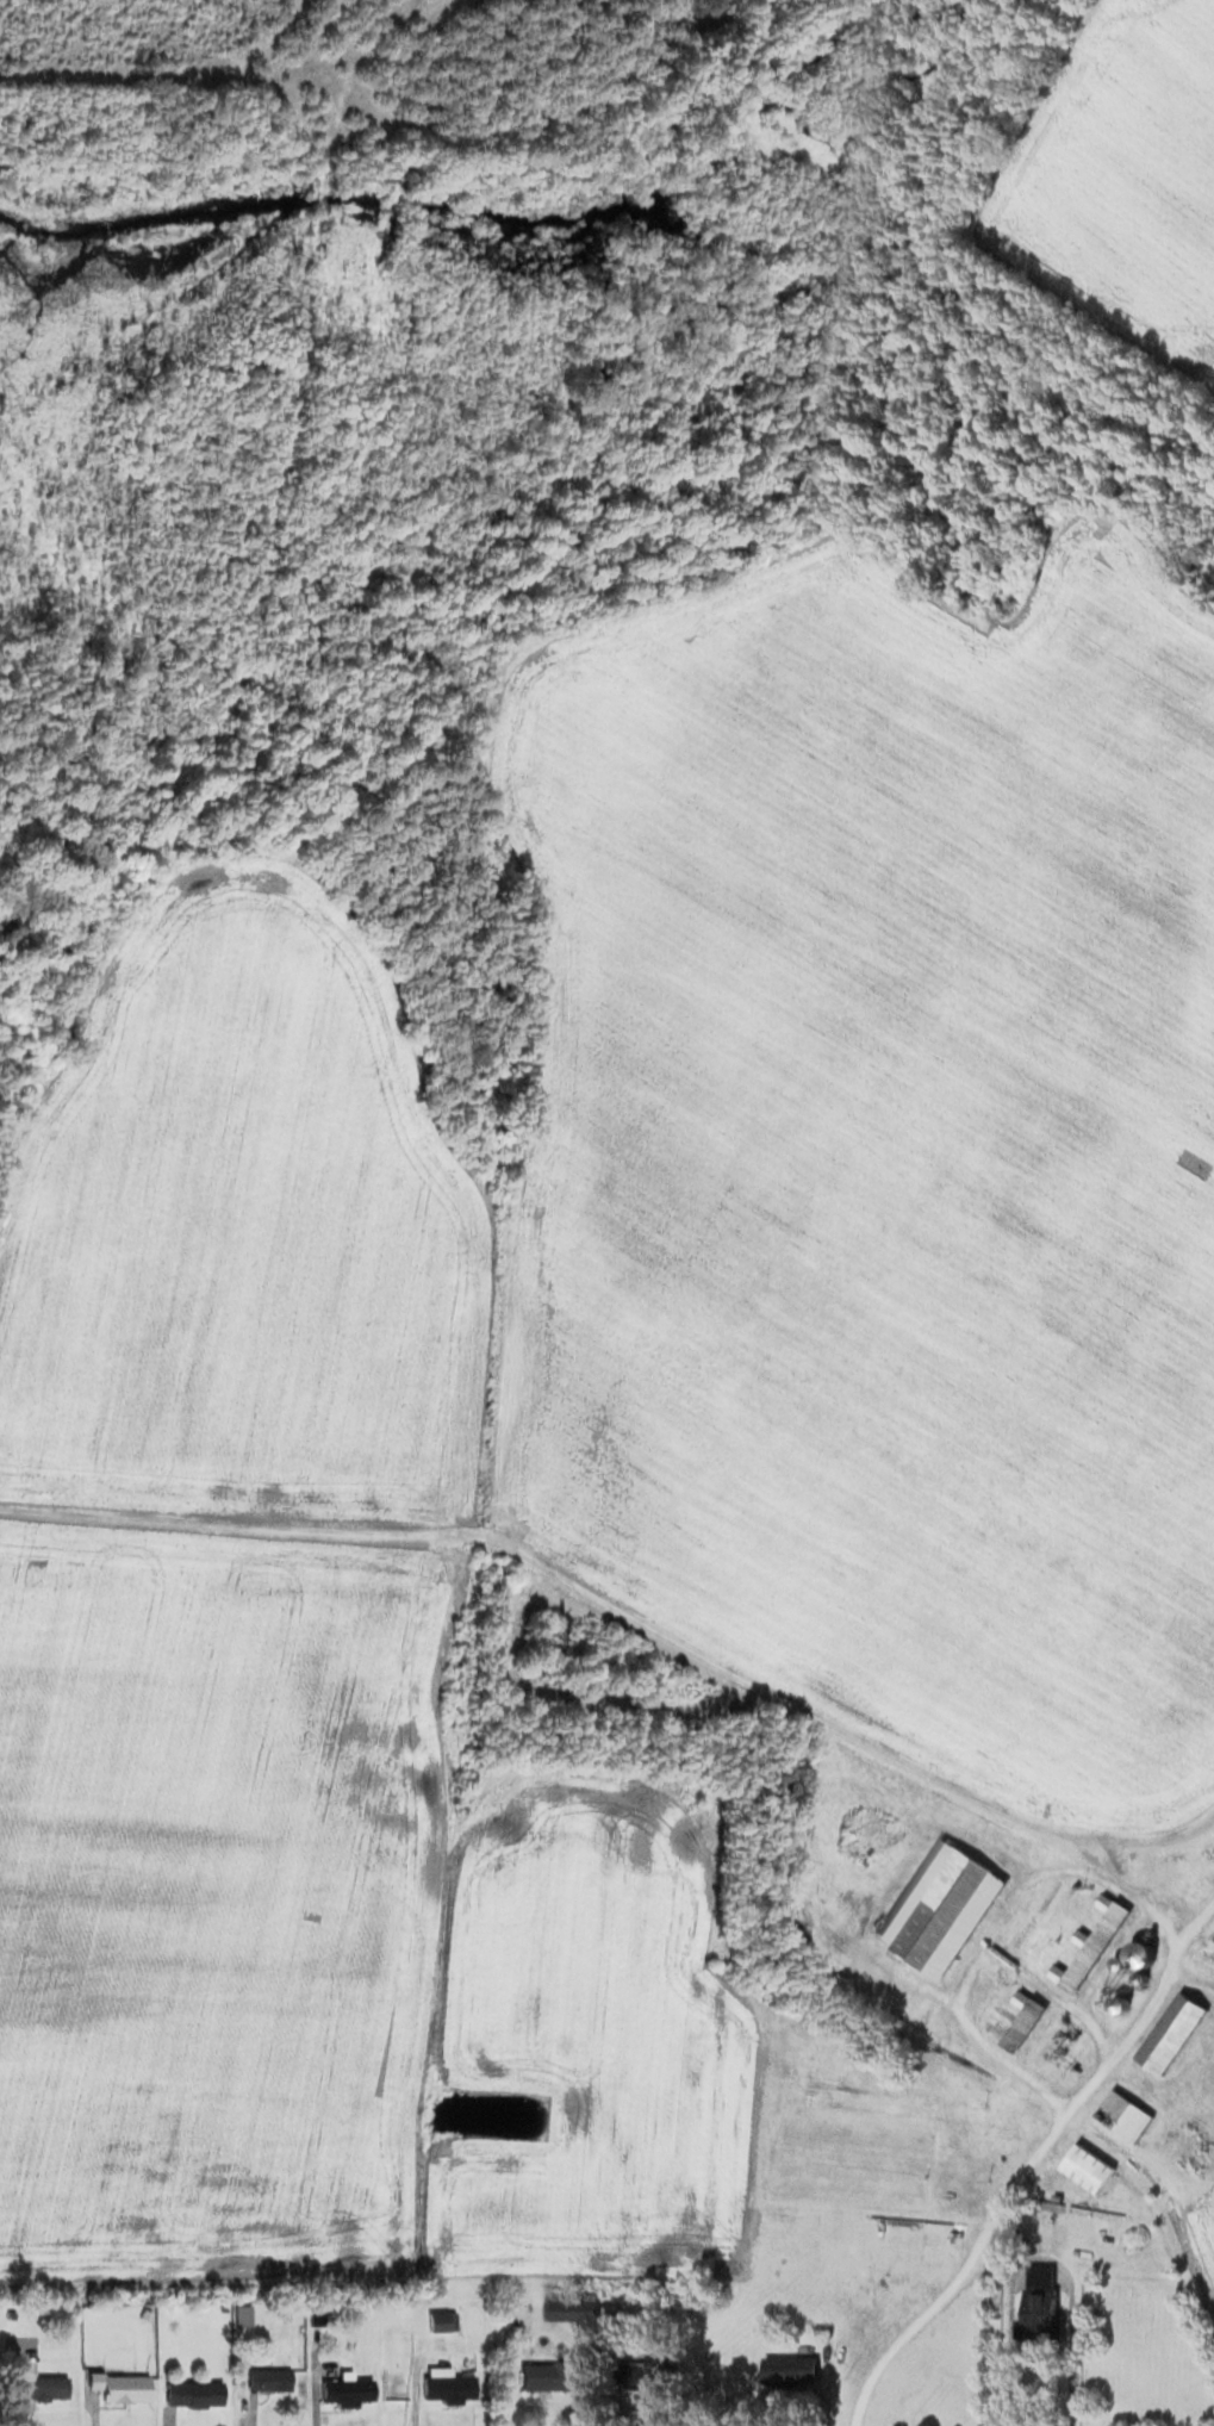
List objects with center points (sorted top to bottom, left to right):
building: (938, 1908)
road: (989, 1926)
building: (1088, 1945)
building: (1137, 1952)
road: (1051, 1992)
building: (1021, 2018)
building: (1169, 2032)
building: (1056, 2045)
building: (1121, 2115)
building: (849, 2135)
road: (1029, 2157)
building: (1084, 2167)
building: (846, 2185)
building: (1036, 2300)
building: (571, 2309)
building: (440, 2321)
building: (786, 2369)
building: (546, 2375)
building: (266, 2378)
building: (117, 2385)
building: (444, 2385)
building: (41, 2387)
building: (343, 2390)
building: (191, 2391)

